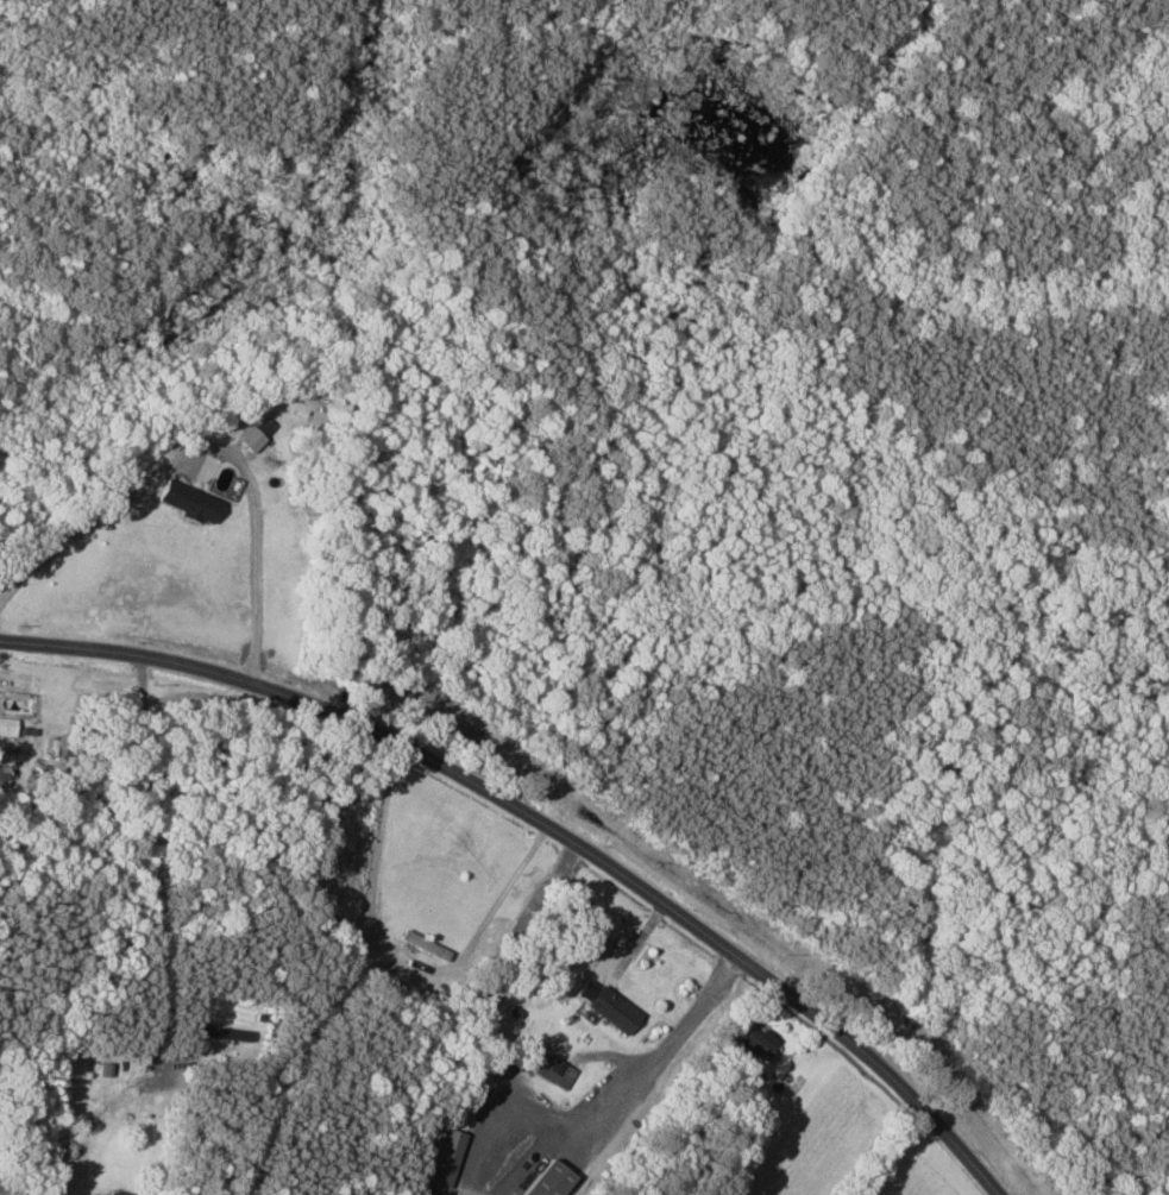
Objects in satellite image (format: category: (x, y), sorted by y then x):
building: (257, 433)
road: (207, 447)
building: (188, 499)
building: (7, 725)
road: (548, 828)
road: (149, 862)
road: (400, 954)
building: (608, 1000)
building: (759, 1042)
road: (666, 1048)
building: (555, 1070)
road: (905, 1153)
building: (446, 1157)
building: (549, 1180)
building: (118, 1193)

